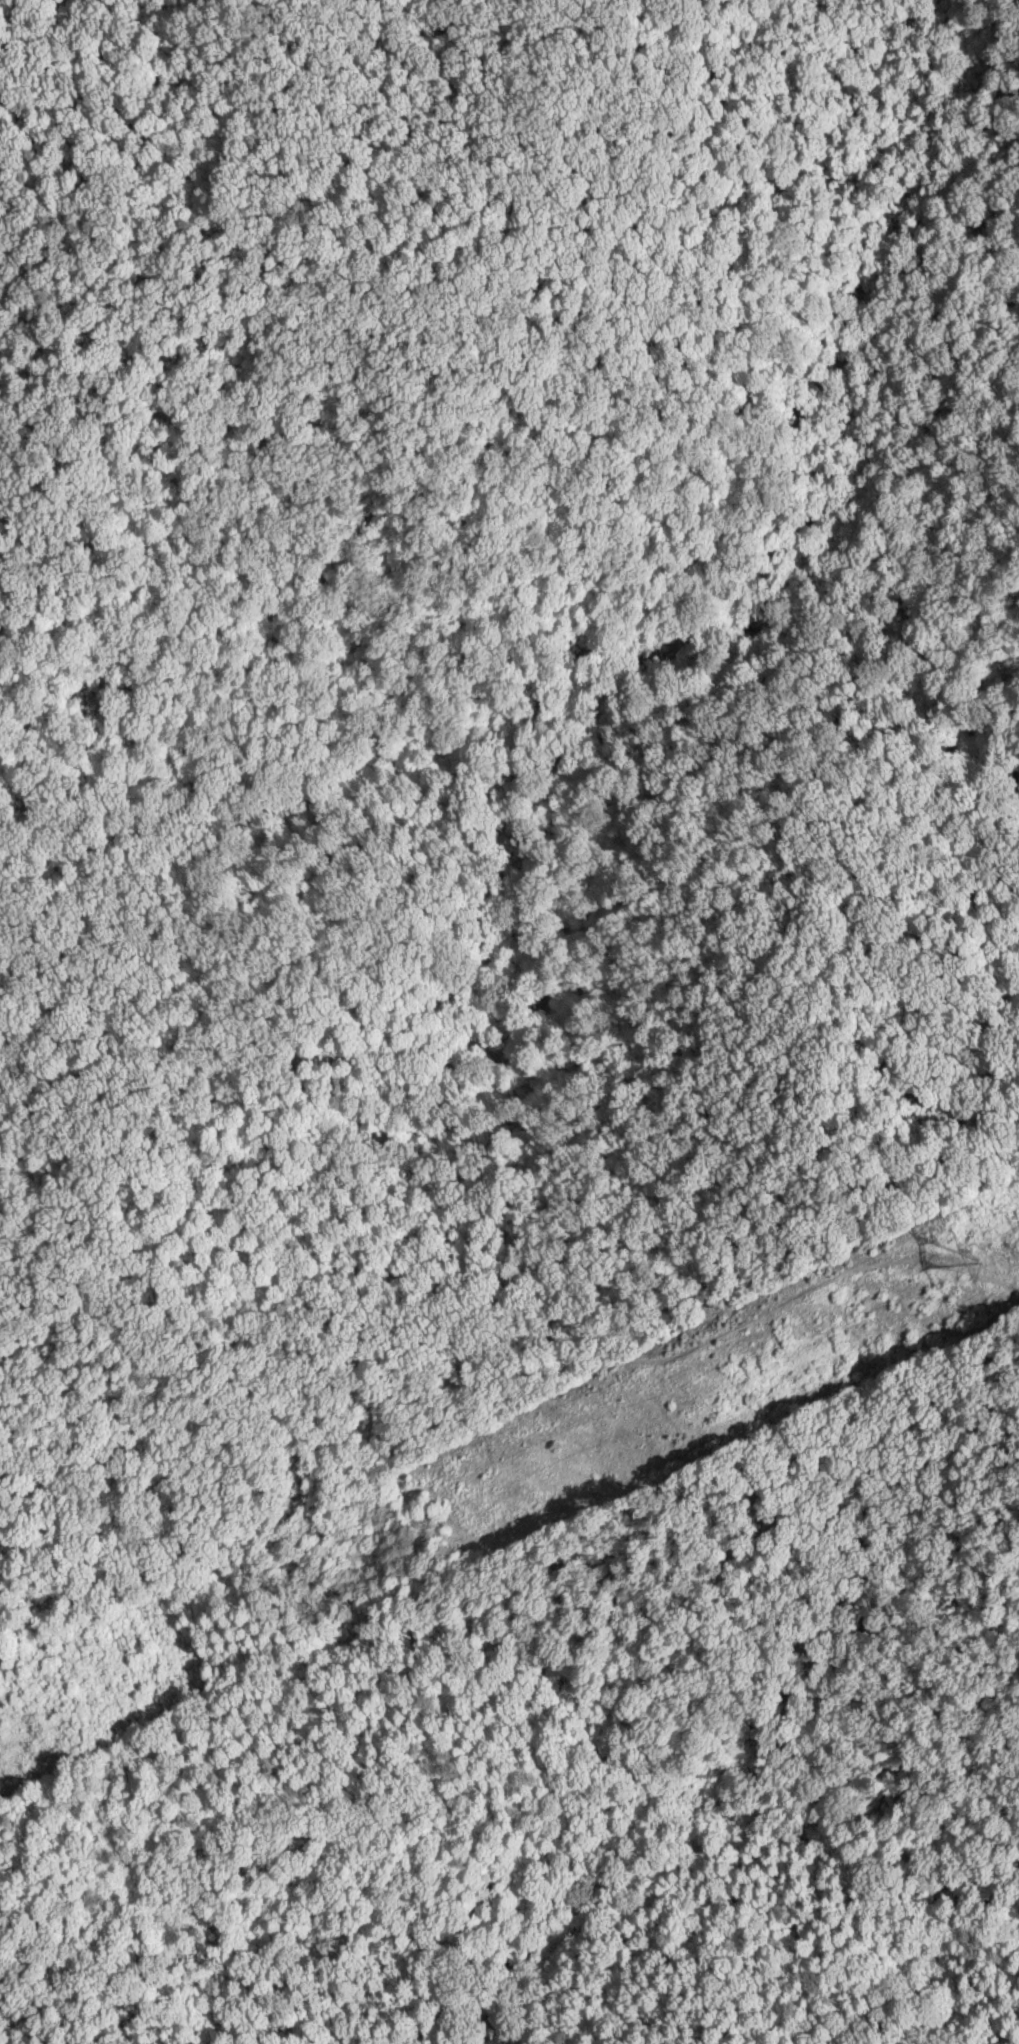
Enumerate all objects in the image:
power tower: (980, 1262)

